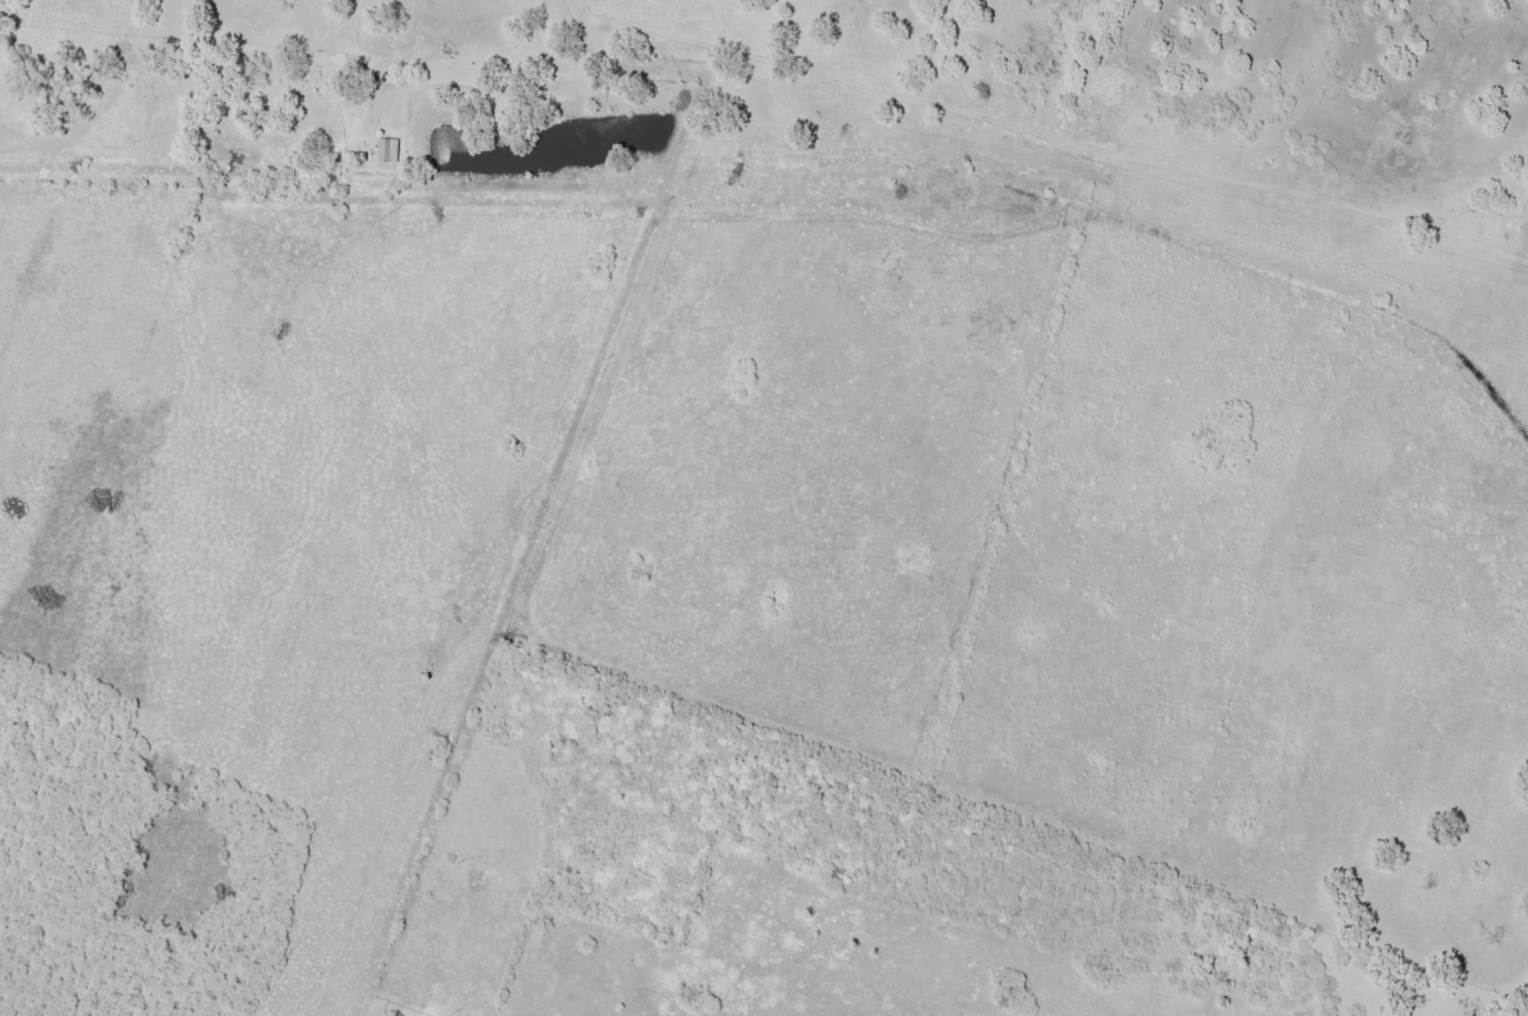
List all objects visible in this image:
building: (386, 150)
road: (1329, 981)

